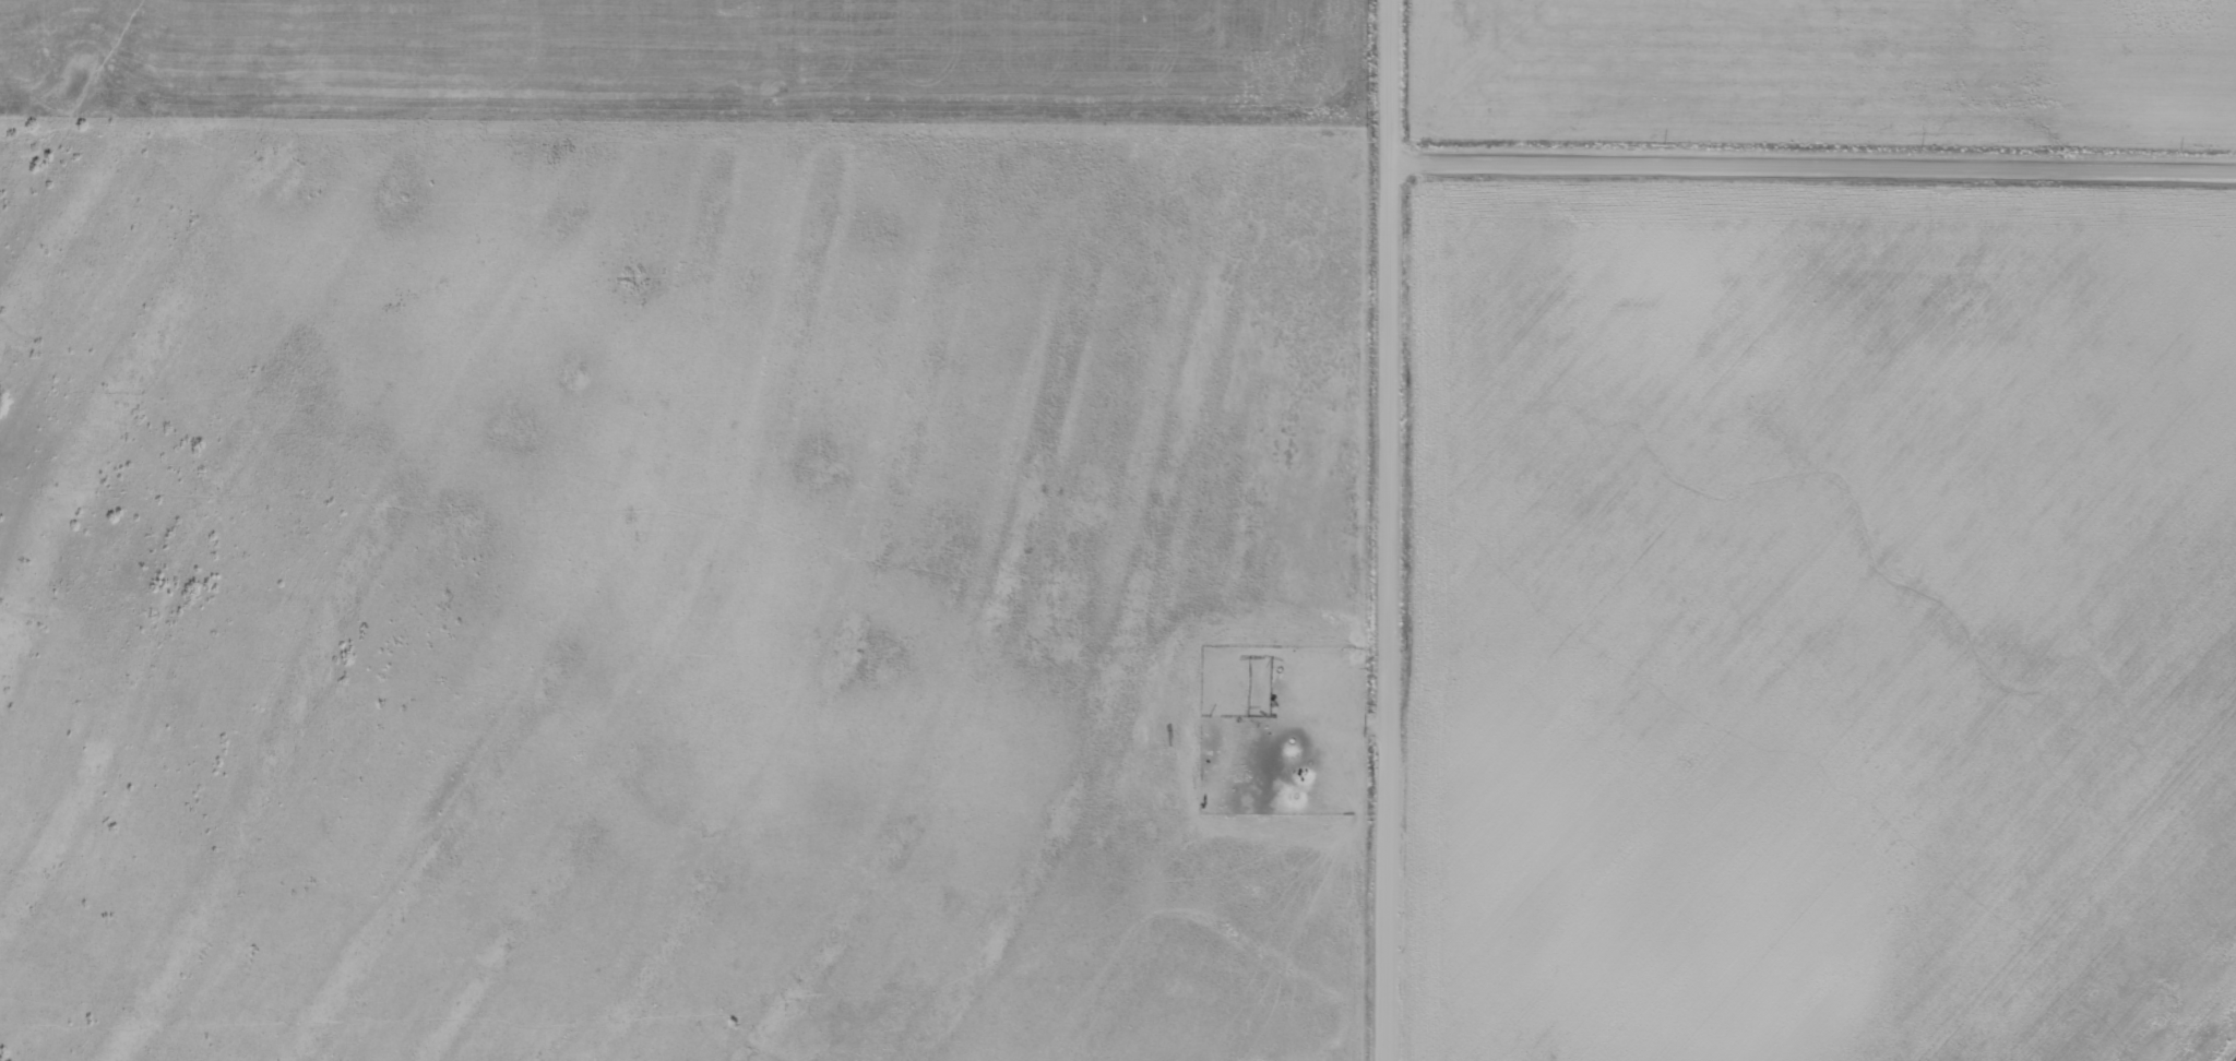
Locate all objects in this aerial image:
road: (1817, 160)
road: (1396, 530)
railway: (2214, 1037)

